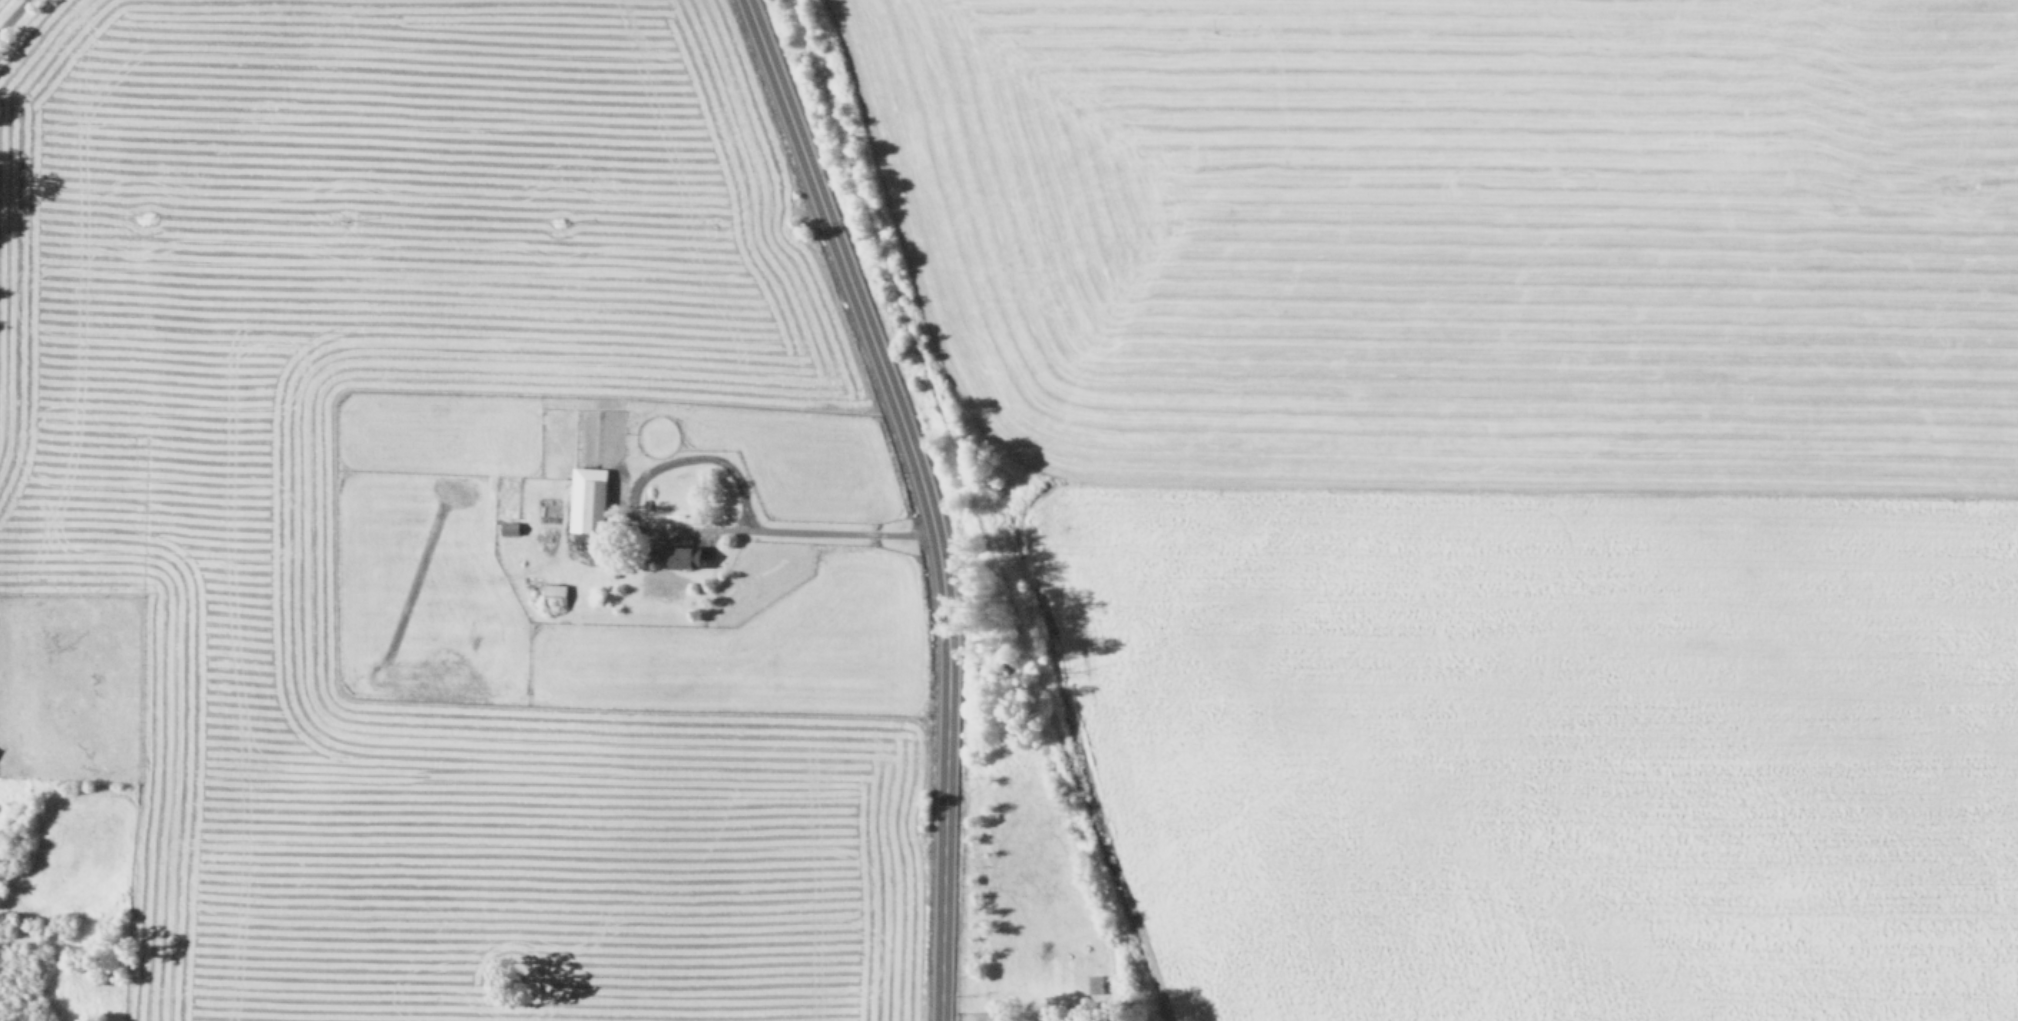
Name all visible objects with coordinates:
road: (13, 15)
crop: (1500, 480)
road: (923, 495)
building: (594, 506)
crop: (430, 528)
building: (509, 528)
road: (788, 532)
building: (682, 556)
building: (553, 593)
building: (1094, 983)

